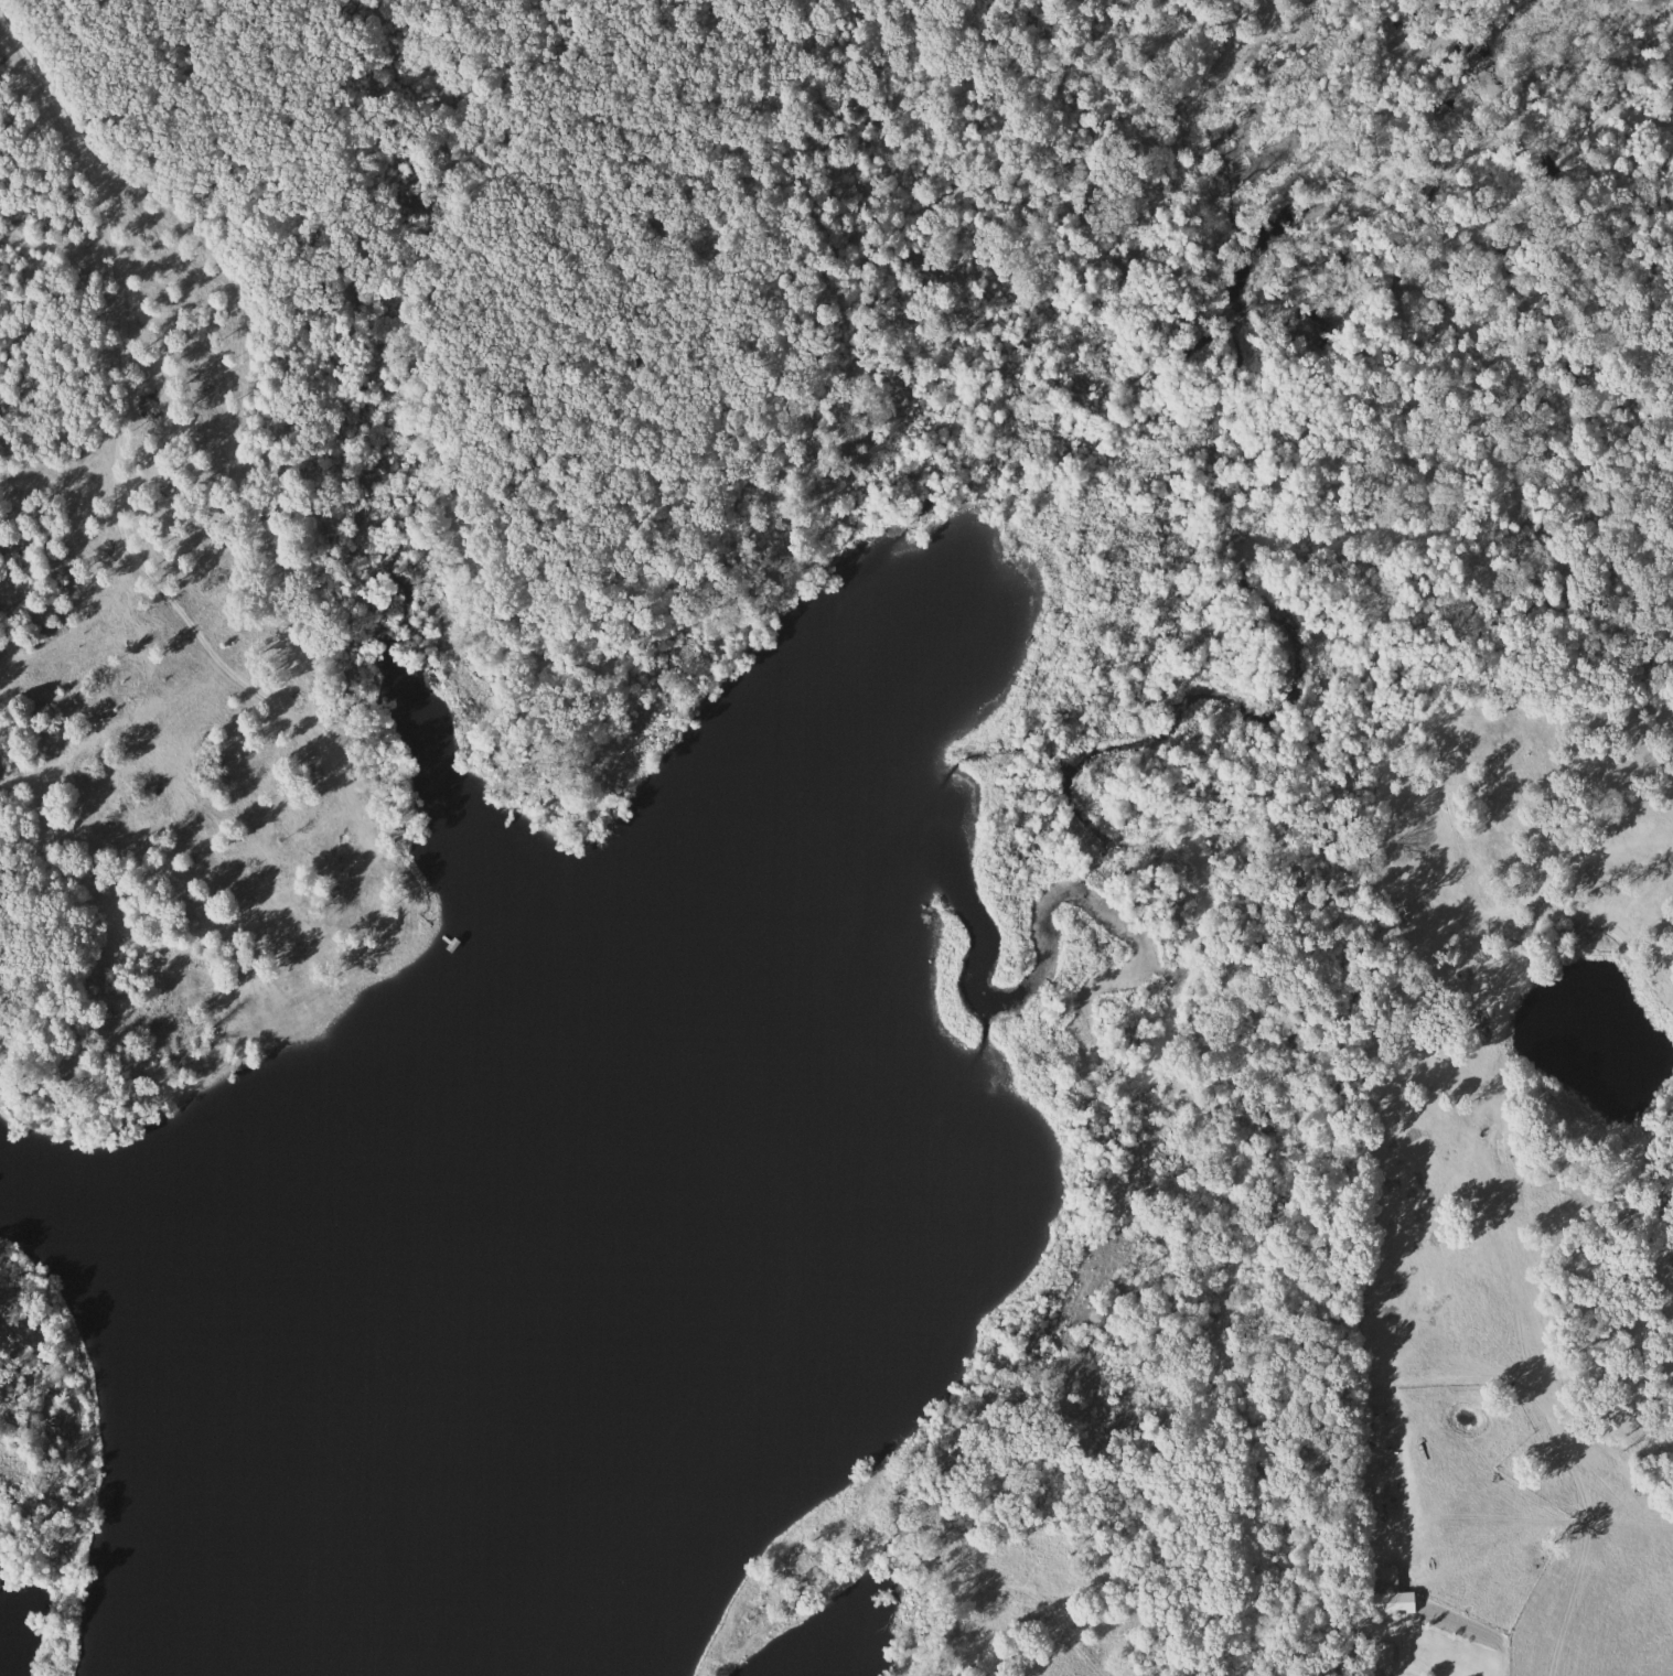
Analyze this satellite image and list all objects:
building: (1396, 1598)
building: (1387, 1652)

